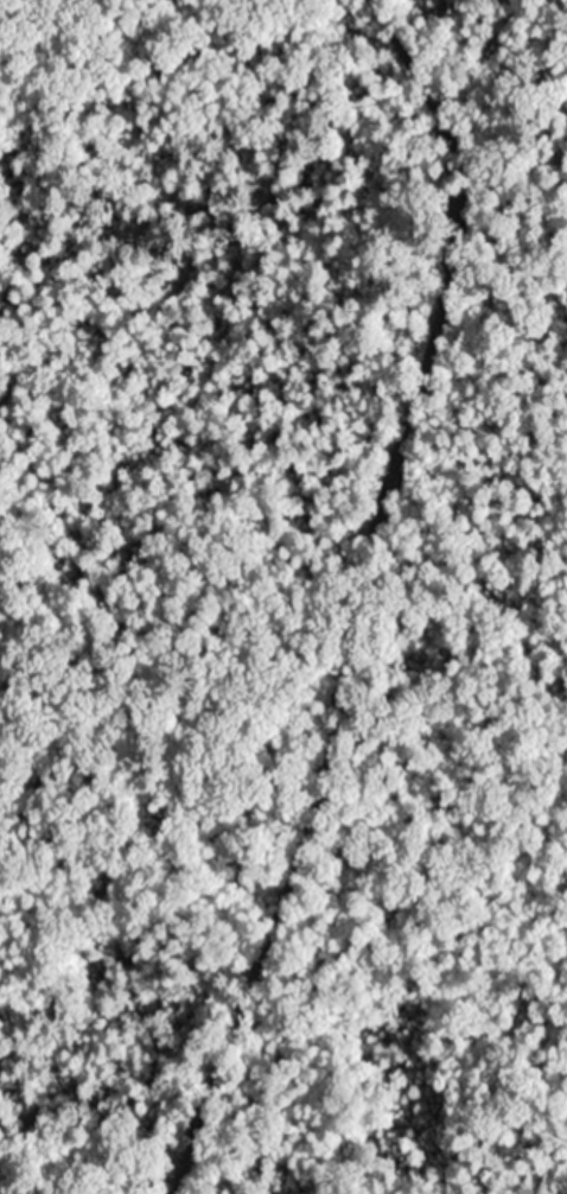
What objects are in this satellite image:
road: (364, 596)

